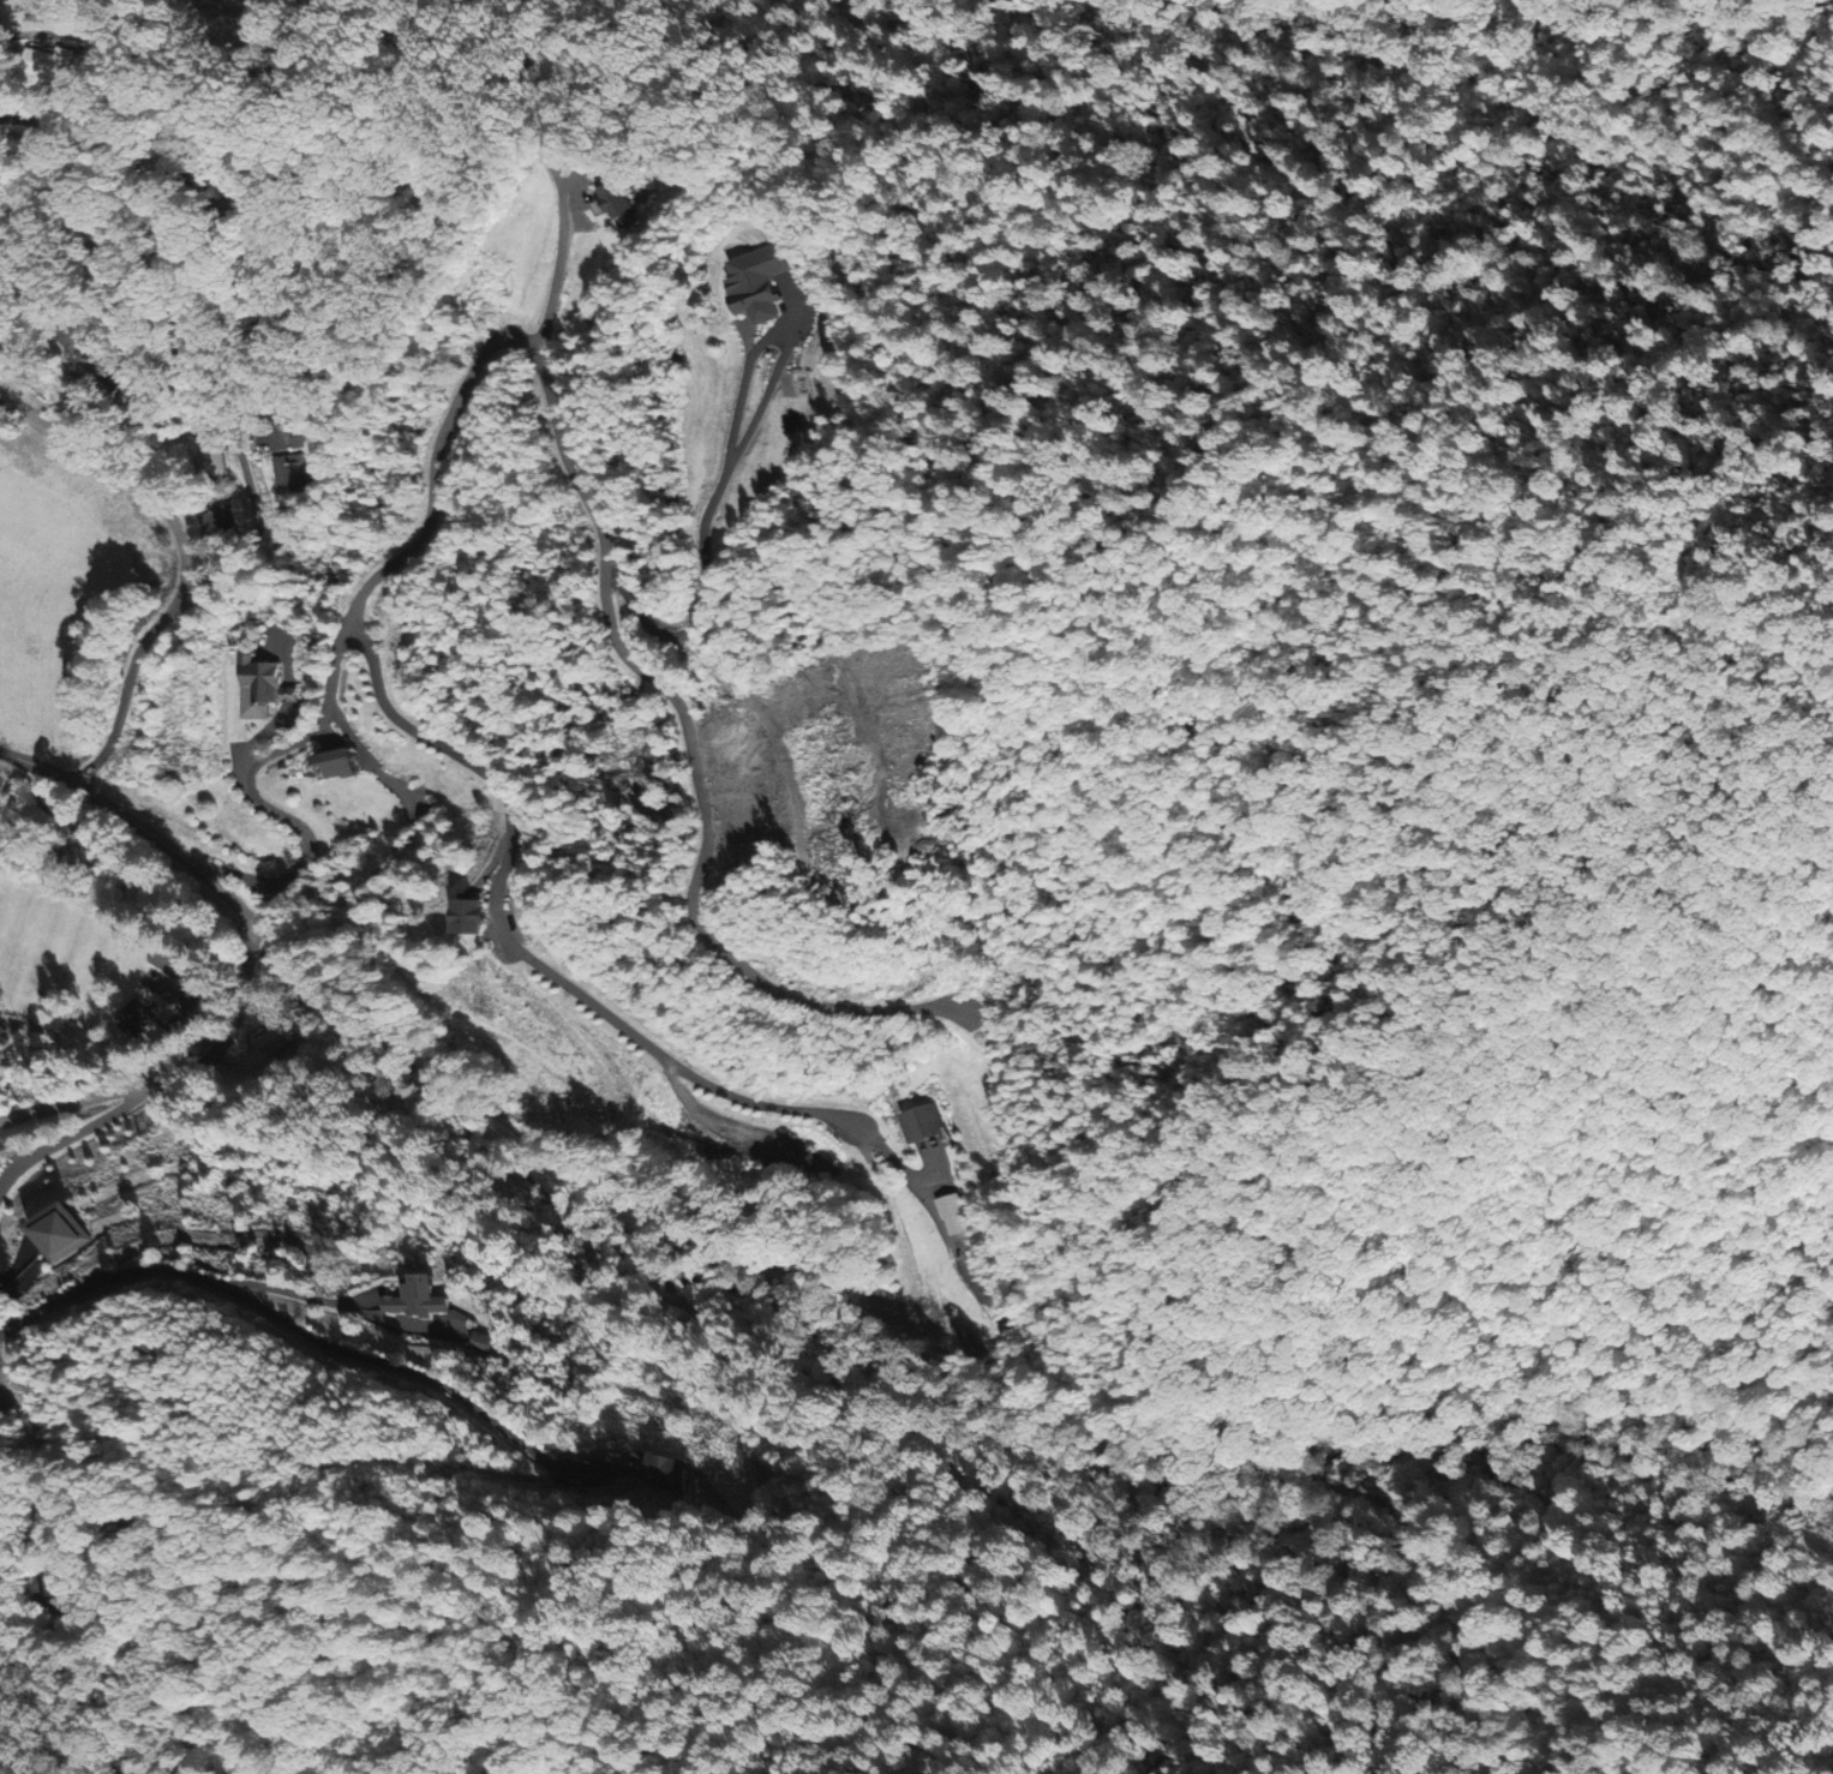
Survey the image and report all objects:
road: (128, 64)
building: (613, 203)
road: (555, 265)
building: (756, 286)
road: (176, 350)
road: (550, 415)
building: (211, 460)
building: (292, 475)
building: (216, 523)
road: (181, 557)
building: (258, 689)
building: (337, 768)
building: (469, 921)
road: (510, 943)
road: (248, 951)
building: (172, 961)
building: (133, 1019)
road: (124, 1043)
building: (922, 1125)
road: (67, 1134)
building: (56, 1233)
building: (418, 1299)
road: (271, 1311)
building: (667, 1474)

